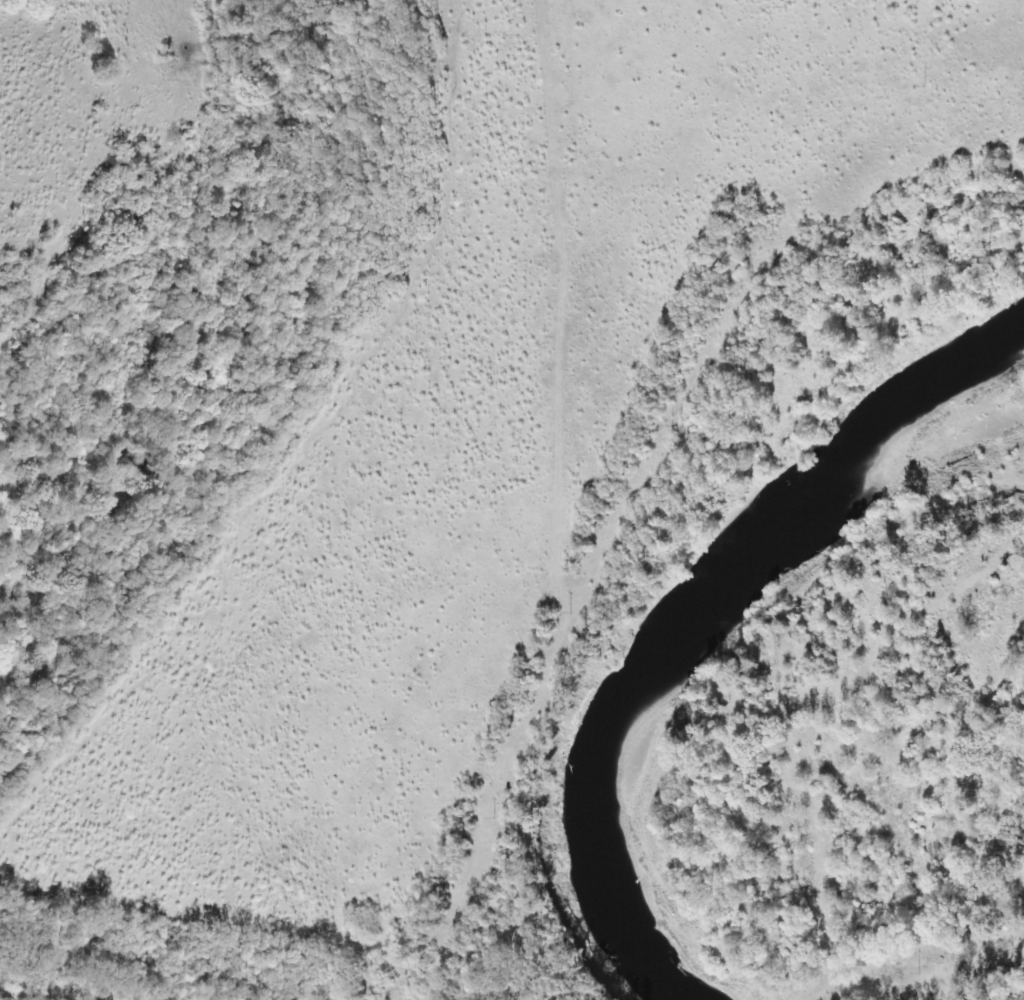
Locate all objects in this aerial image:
river: (691, 622)

